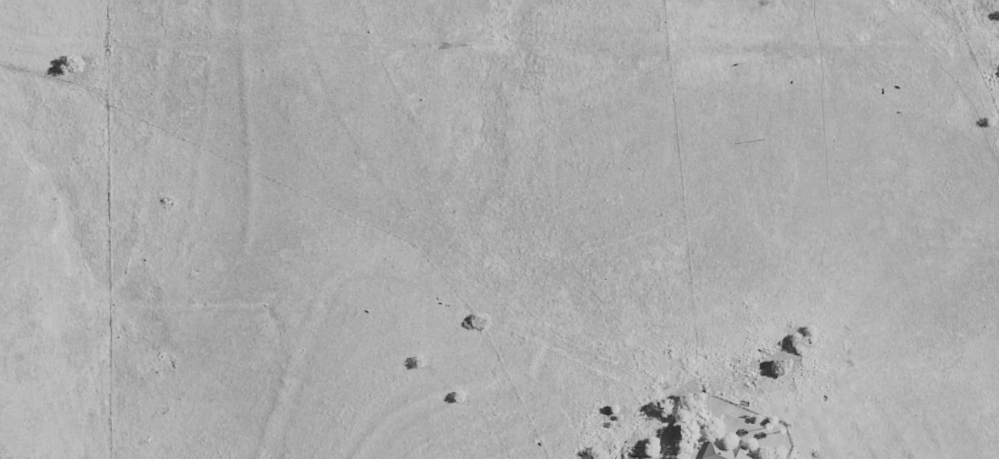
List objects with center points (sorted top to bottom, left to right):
building: (723, 452)

